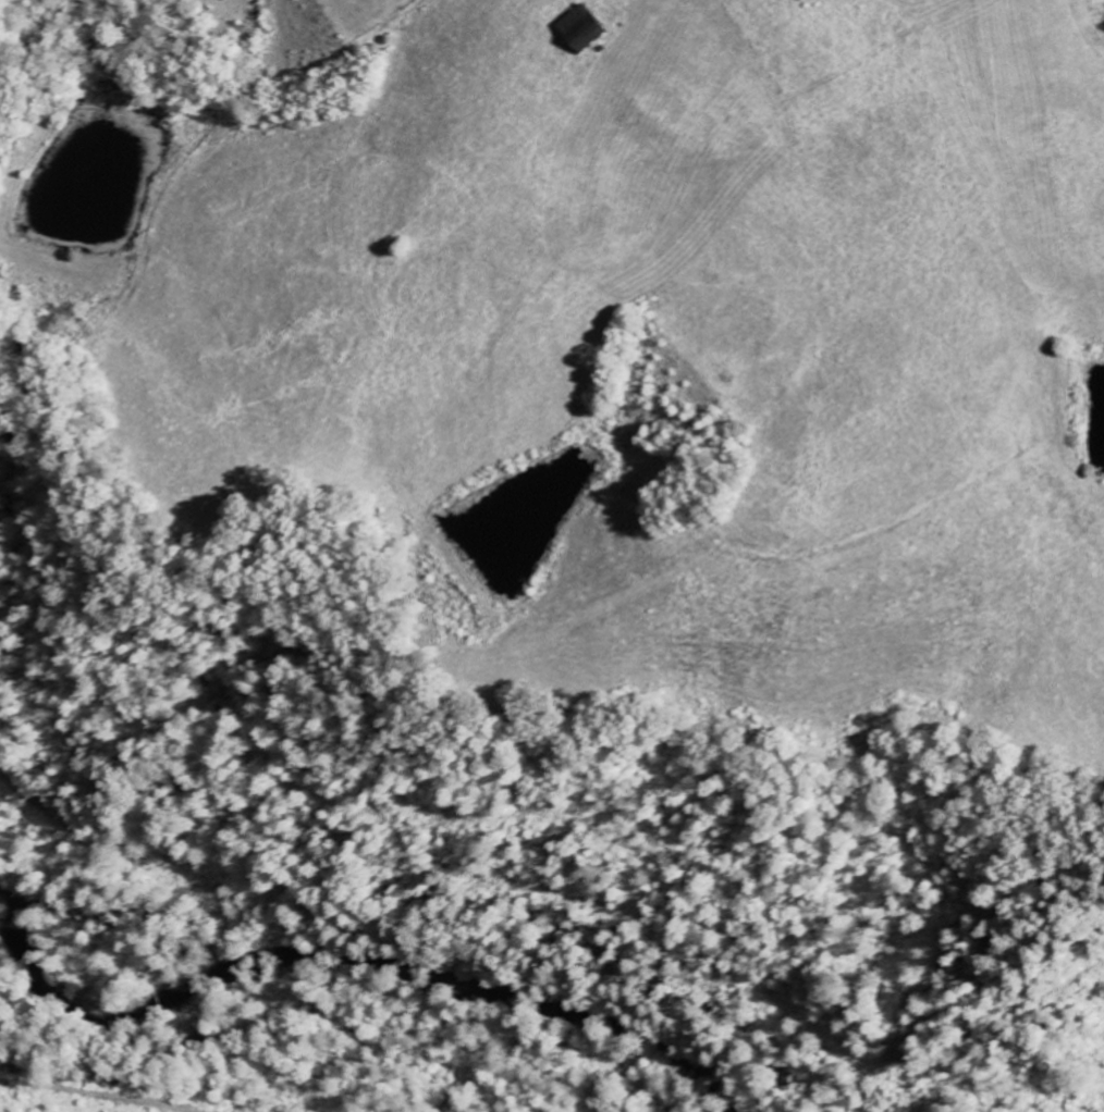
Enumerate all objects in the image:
building: (578, 29)

